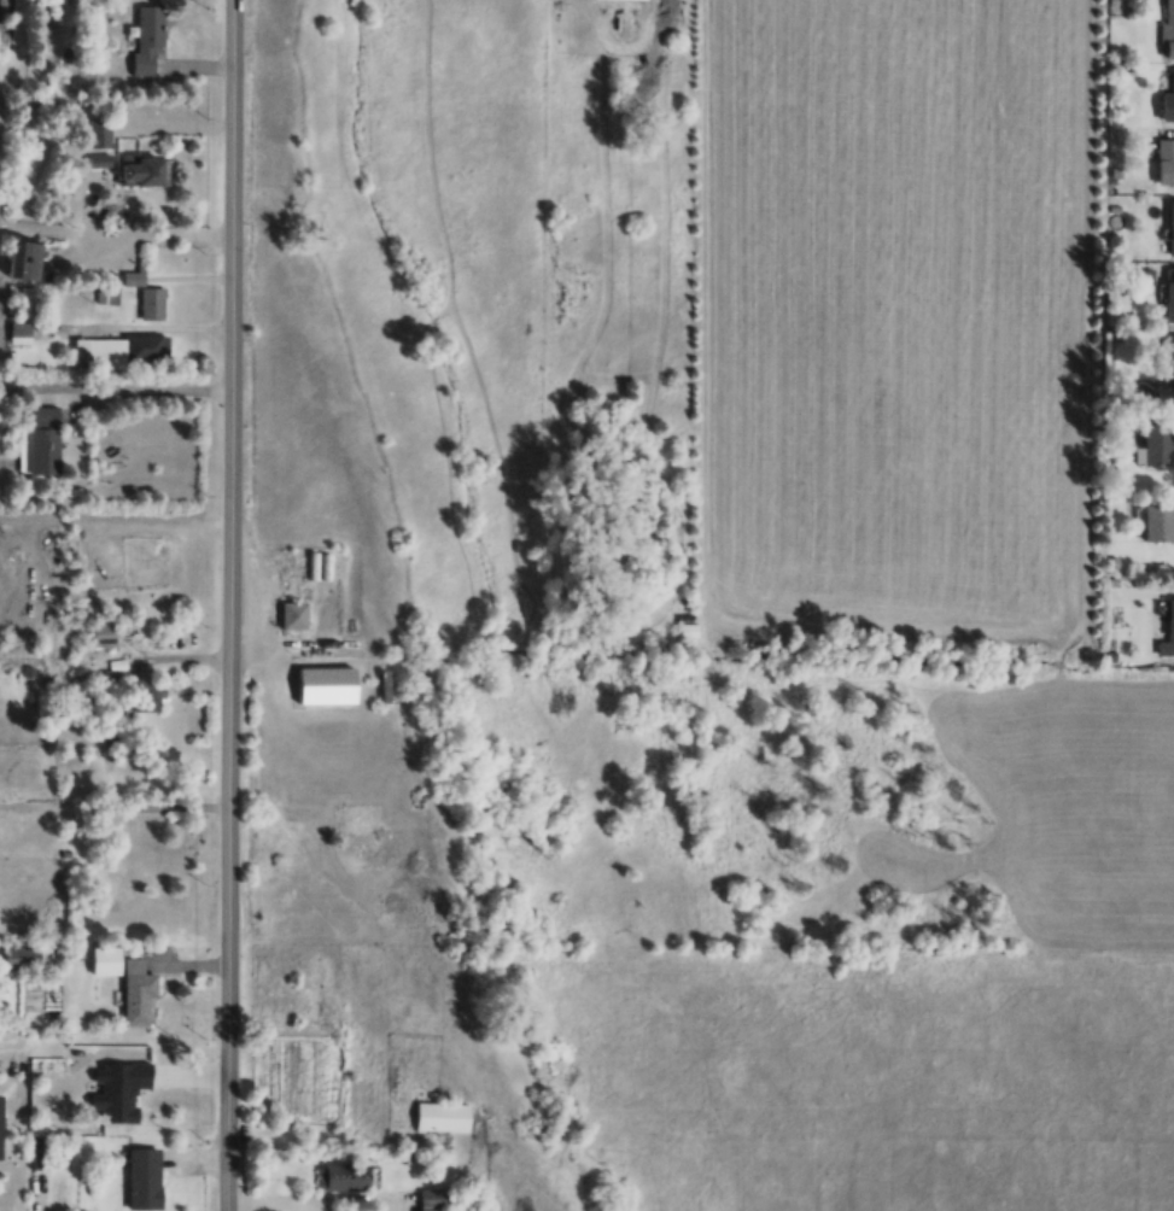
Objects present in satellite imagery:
building: (1168, 27)
building: (148, 37)
building: (1169, 103)
building: (100, 131)
building: (99, 158)
building: (1164, 160)
building: (144, 169)
building: (1172, 227)
building: (22, 258)
road: (229, 265)
building: (1170, 294)
building: (152, 303)
crop: (889, 314)
building: (122, 351)
building: (45, 440)
building: (1158, 443)
building: (1160, 521)
building: (321, 566)
building: (297, 609)
building: (1172, 619)
building: (685, 626)
building: (327, 685)
building: (147, 691)
building: (146, 831)
road: (228, 871)
building: (0, 956)
building: (106, 961)
building: (138, 993)
road: (31, 1043)
building: (122, 1089)
building: (444, 1116)
building: (1, 1124)
building: (345, 1176)
building: (145, 1177)
building: (439, 1199)

